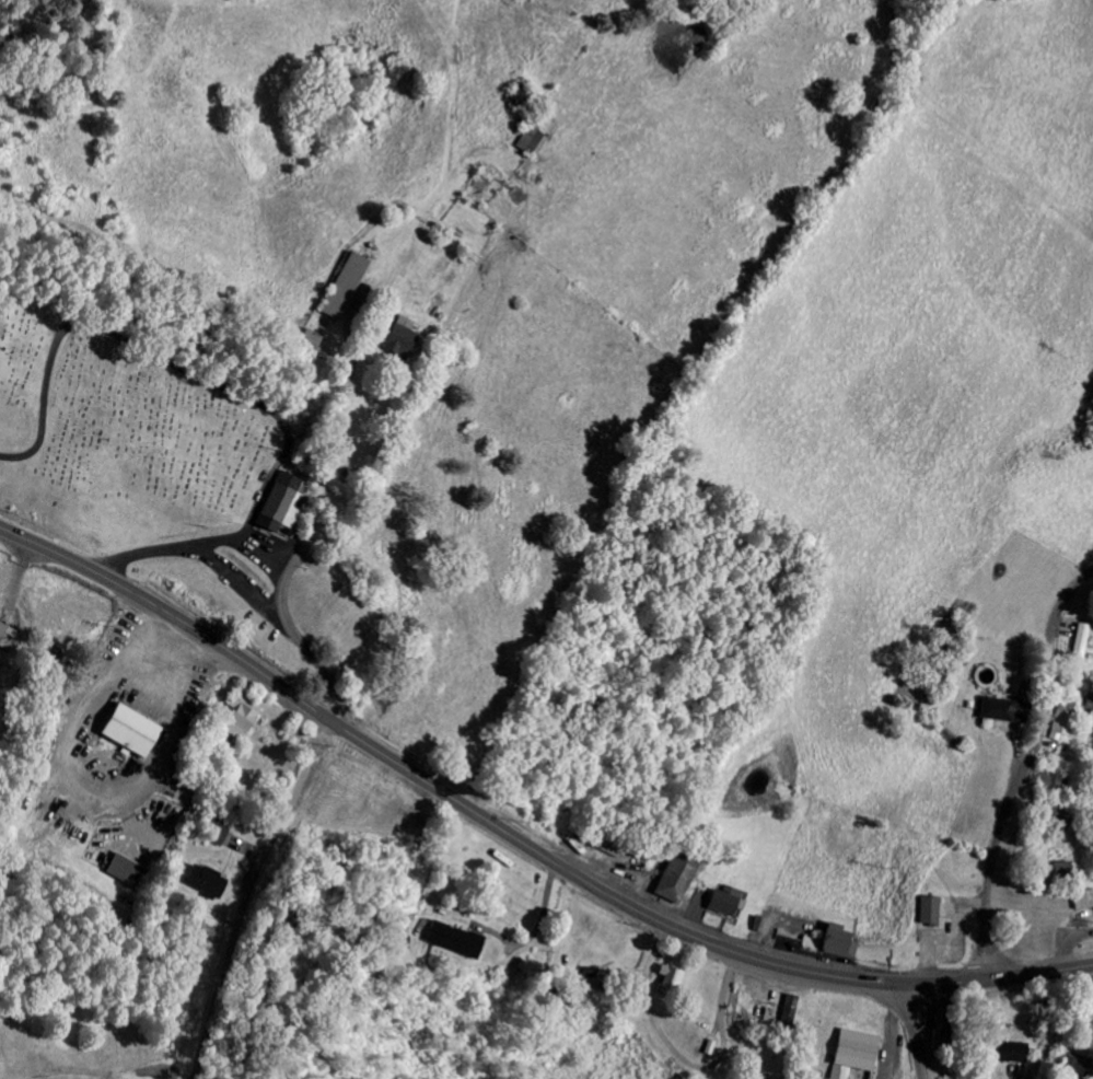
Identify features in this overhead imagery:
building: (528, 136)
building: (346, 288)
building: (404, 341)
road: (228, 391)
road: (383, 398)
park: (119, 436)
building: (289, 502)
building: (8, 639)
building: (1073, 643)
building: (992, 712)
building: (244, 723)
building: (1056, 730)
building: (135, 733)
road: (1028, 774)
road: (518, 842)
building: (127, 874)
building: (666, 883)
building: (208, 884)
road: (249, 892)
building: (1079, 902)
building: (922, 914)
building: (829, 941)
building: (450, 943)
building: (664, 982)
road: (916, 1032)
road: (1055, 1041)
building: (847, 1055)
building: (998, 1056)

